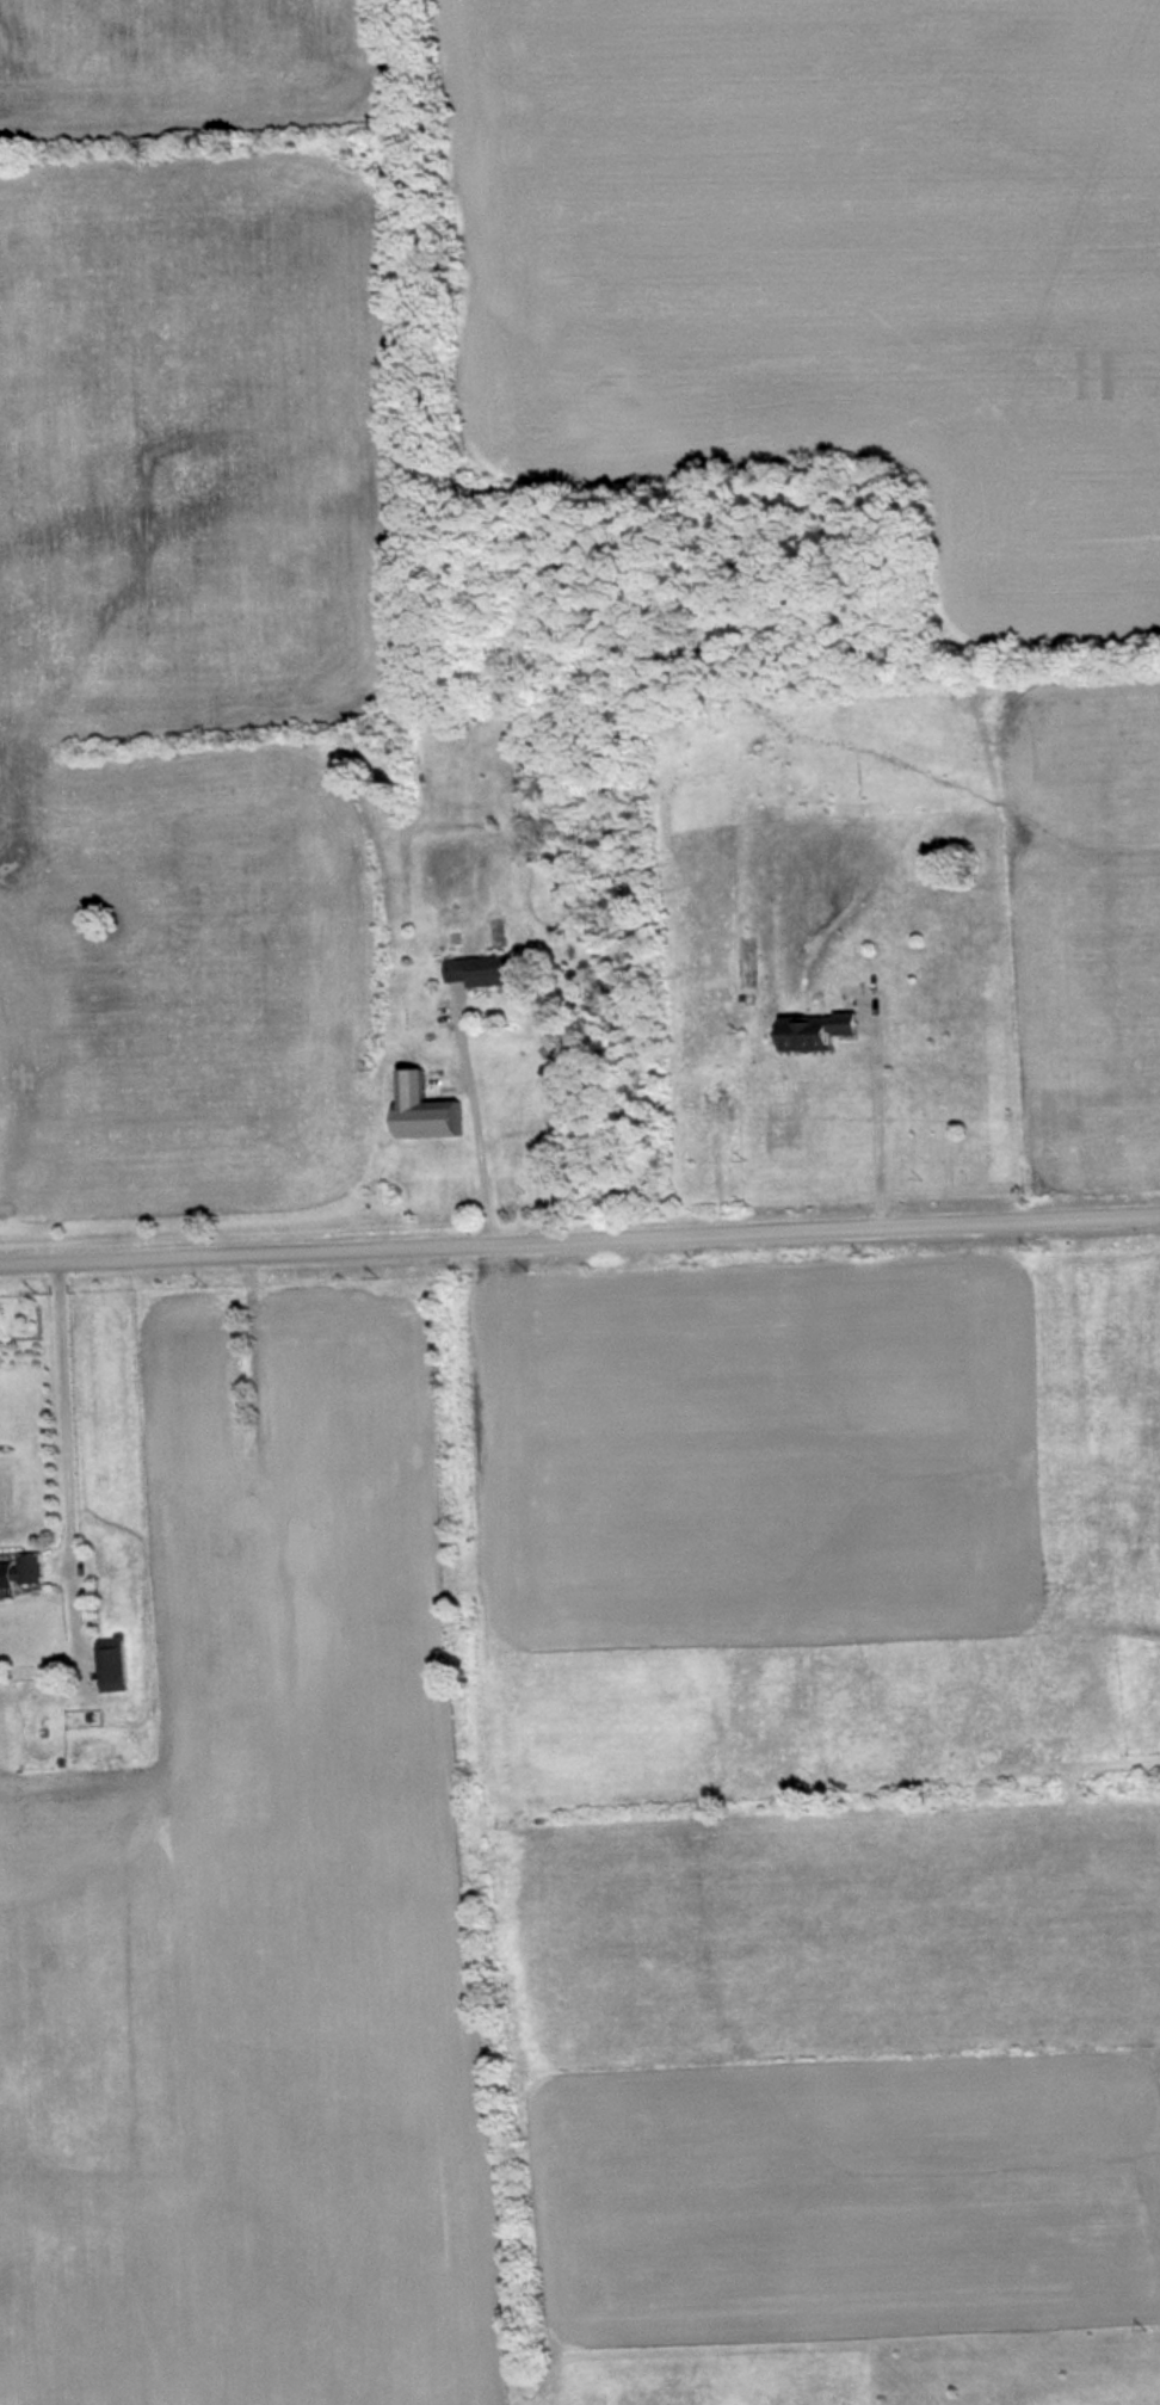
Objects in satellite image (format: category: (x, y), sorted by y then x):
building: (489, 969)
building: (825, 1030)
building: (439, 1104)
road: (468, 1126)
road: (580, 1238)
building: (25, 1572)
building: (117, 1663)

